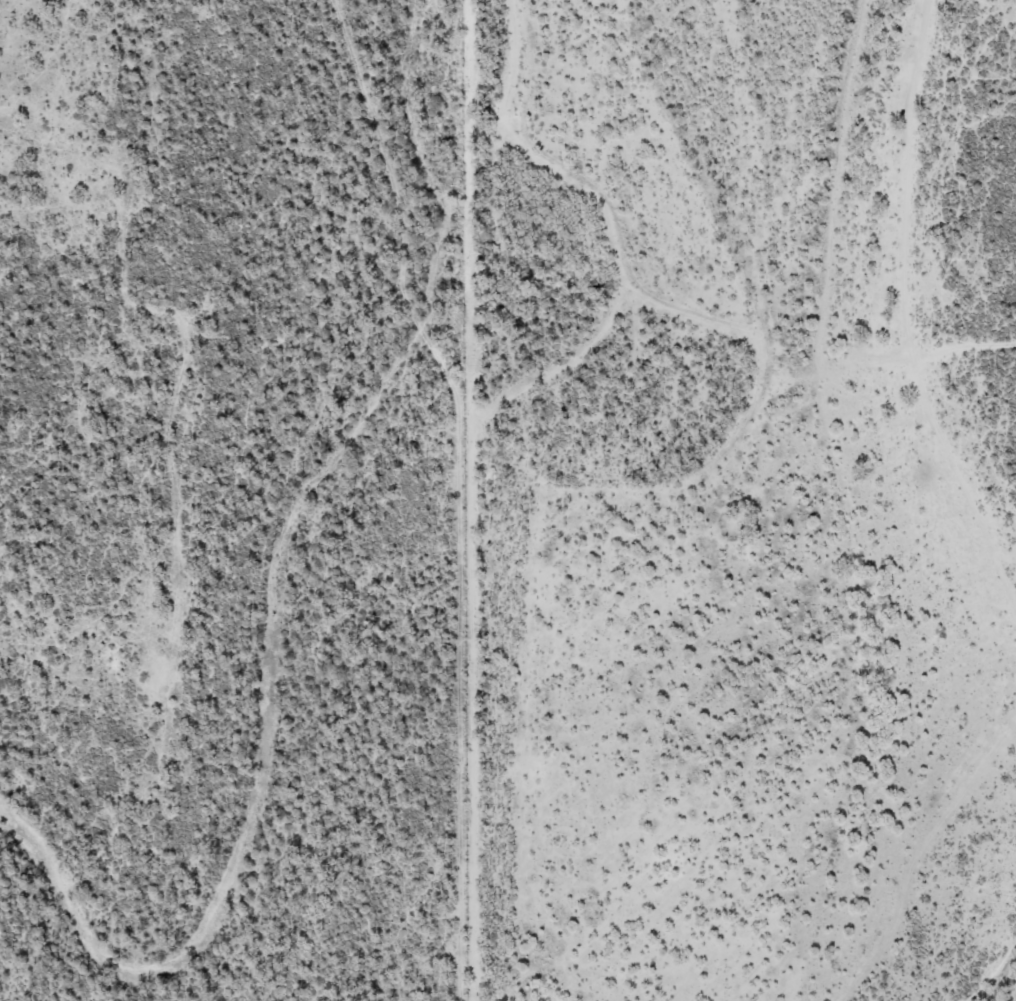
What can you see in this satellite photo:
road: (916, 294)
road: (1011, 753)
road: (921, 858)

